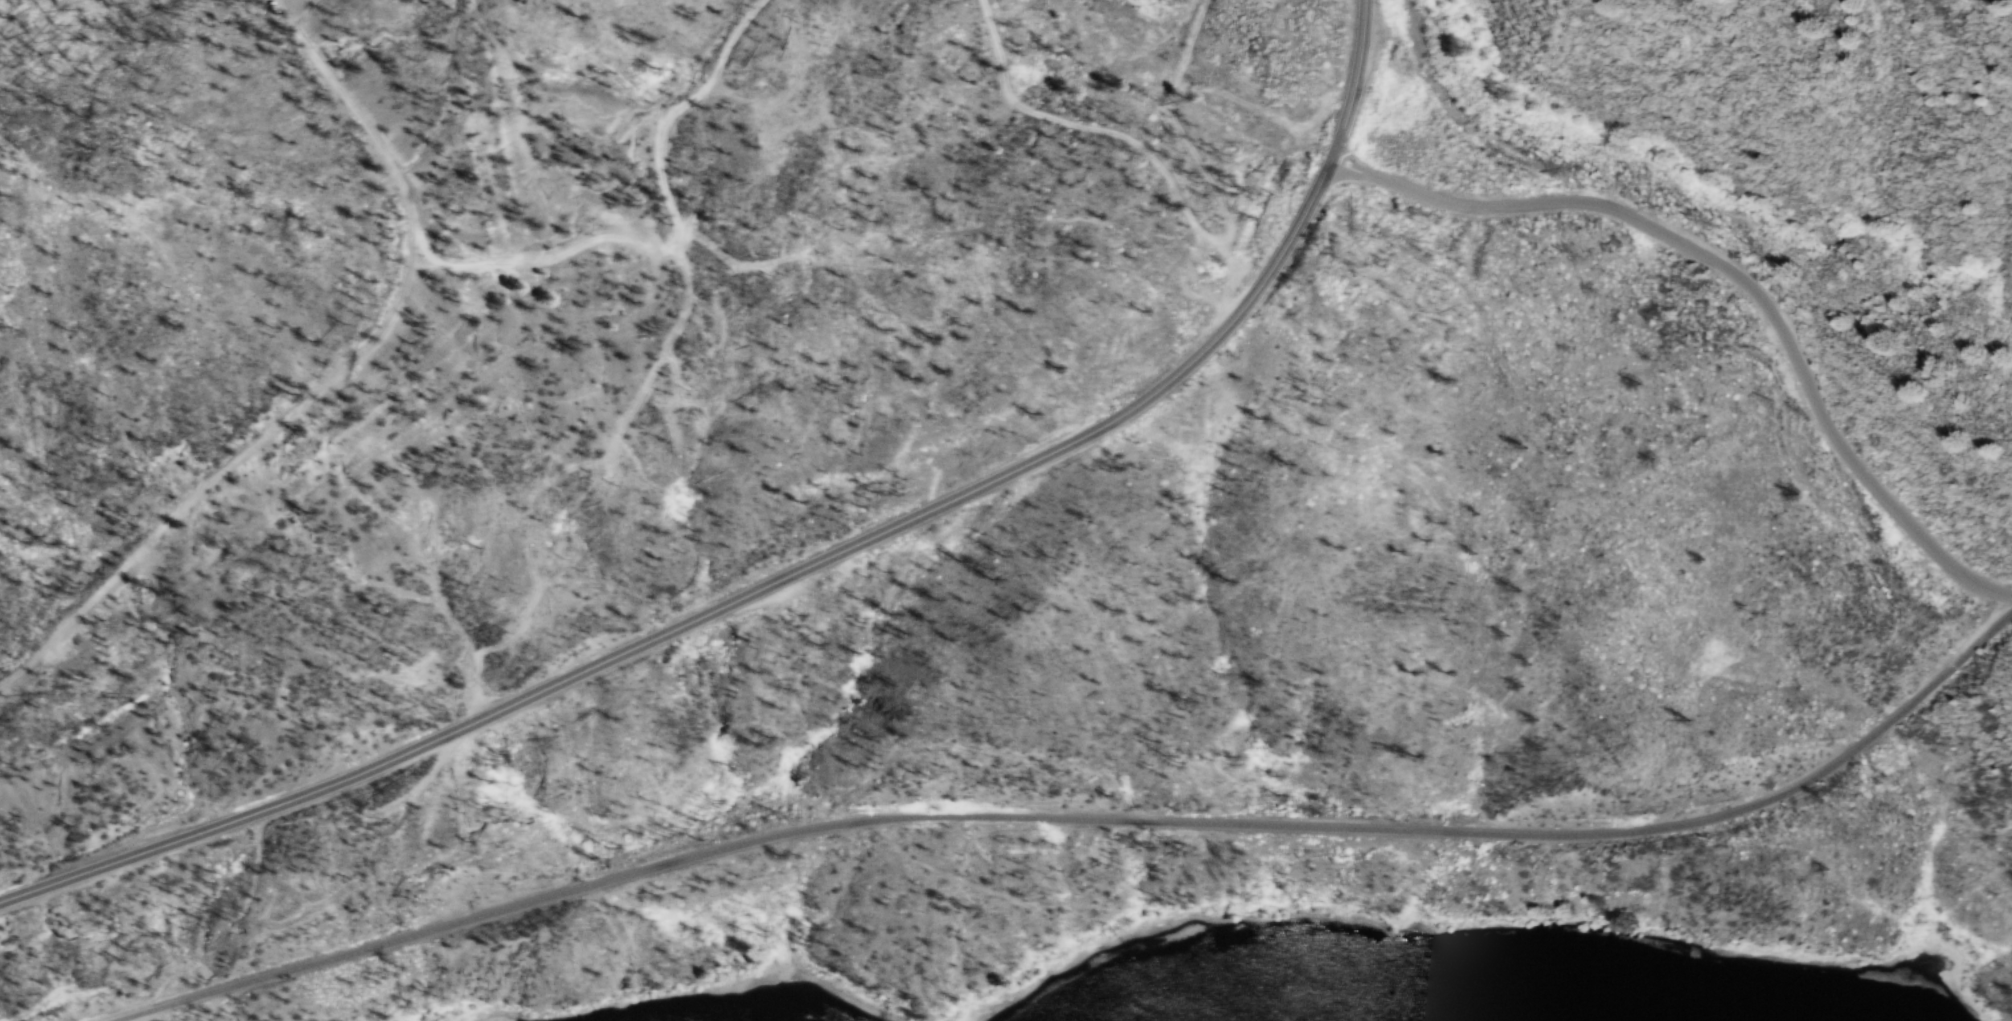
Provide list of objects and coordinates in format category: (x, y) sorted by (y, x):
road: (1128, 142)
road: (681, 240)
road: (1740, 277)
road: (331, 385)
road: (800, 574)
road: (1083, 814)

